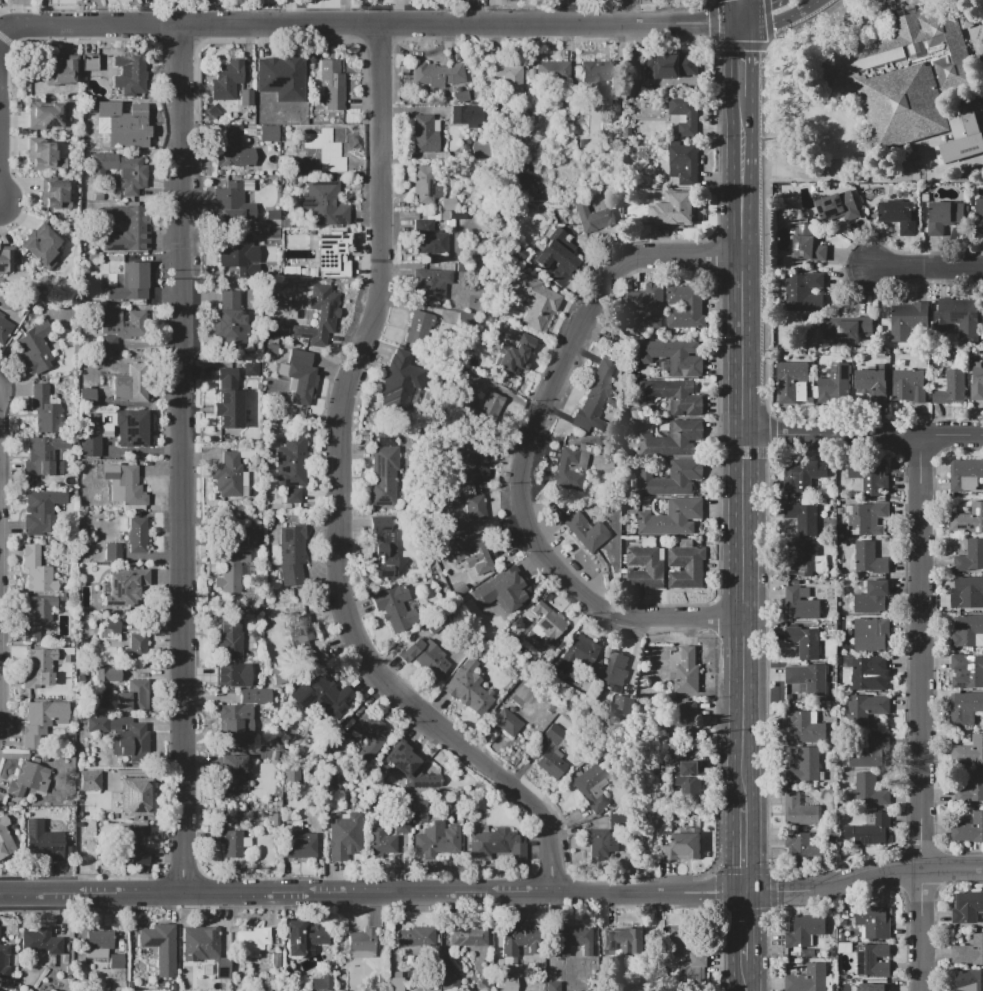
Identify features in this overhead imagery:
traffic signals: (767, 1)
road: (753, 8)
road: (734, 9)
road: (742, 9)
road: (778, 16)
road: (7, 19)
traffic signals: (711, 19)
road: (367, 24)
road: (0, 34)
road: (0, 36)
building: (898, 44)
traffic signals: (740, 51)
building: (88, 62)
building: (670, 65)
building: (280, 71)
building: (553, 71)
building: (60, 72)
building: (129, 74)
building: (594, 74)
building: (438, 75)
building: (508, 75)
building: (226, 80)
building: (331, 85)
park: (872, 94)
road: (740, 97)
building: (245, 99)
building: (903, 105)
building: (685, 113)
building: (52, 117)
building: (466, 117)
building: (964, 124)
building: (125, 128)
building: (268, 132)
building: (423, 133)
building: (479, 150)
building: (233, 153)
building: (43, 156)
building: (331, 156)
building: (682, 163)
building: (120, 170)
building: (523, 178)
building: (422, 185)
building: (54, 193)
building: (233, 202)
building: (447, 203)
building: (323, 204)
building: (838, 205)
building: (899, 215)
road: (741, 216)
building: (979, 216)
building: (942, 217)
building: (593, 218)
building: (680, 218)
building: (127, 229)
building: (428, 238)
building: (808, 244)
building: (42, 248)
building: (231, 253)
building: (329, 254)
building: (557, 256)
building: (5, 261)
road: (843, 267)
road: (927, 267)
building: (127, 283)
building: (430, 284)
road: (766, 291)
building: (804, 292)
building: (534, 300)
building: (644, 306)
building: (686, 307)
building: (960, 316)
building: (320, 317)
building: (229, 322)
building: (901, 323)
building: (117, 327)
building: (848, 327)
building: (4, 329)
building: (421, 329)
building: (34, 346)
building: (515, 354)
building: (673, 356)
building: (226, 374)
building: (976, 375)
building: (301, 376)
building: (132, 377)
building: (790, 379)
building: (397, 380)
building: (90, 381)
building: (872, 383)
building: (836, 384)
building: (907, 386)
building: (950, 386)
building: (674, 396)
building: (594, 397)
building: (43, 409)
building: (227, 409)
building: (485, 410)
building: (132, 429)
building: (105, 430)
road: (862, 435)
road: (742, 436)
building: (672, 438)
building: (88, 445)
road: (528, 450)
building: (43, 455)
road: (185, 460)
building: (291, 461)
building: (475, 463)
building: (572, 466)
building: (798, 471)
building: (869, 474)
building: (227, 475)
building: (383, 475)
building: (966, 476)
building: (672, 477)
building: (122, 484)
building: (454, 492)
building: (291, 495)
road: (339, 498)
building: (40, 511)
building: (468, 512)
building: (802, 517)
building: (671, 518)
building: (866, 518)
building: (968, 519)
building: (586, 532)
building: (137, 535)
building: (238, 538)
building: (851, 542)
building: (842, 543)
building: (382, 548)
building: (112, 553)
building: (292, 554)
building: (469, 555)
building: (970, 557)
building: (868, 558)
building: (807, 561)
building: (687, 567)
building: (645, 568)
building: (230, 569)
building: (36, 571)
building: (503, 589)
building: (120, 591)
building: (968, 592)
building: (872, 598)
building: (800, 606)
building: (395, 608)
building: (37, 617)
building: (111, 624)
building: (545, 627)
building: (295, 628)
building: (966, 630)
building: (871, 636)
building: (804, 641)
building: (137, 646)
building: (578, 654)
building: (231, 655)
building: (425, 656)
building: (39, 668)
building: (864, 670)
building: (967, 670)
building: (614, 671)
building: (686, 673)
building: (107, 675)
building: (808, 678)
building: (469, 688)
building: (327, 697)
building: (132, 698)
building: (623, 704)
building: (965, 706)
building: (865, 708)
road: (744, 709)
road: (920, 713)
building: (241, 717)
building: (41, 721)
building: (506, 724)
building: (805, 727)
building: (685, 729)
building: (116, 733)
building: (371, 735)
building: (337, 736)
building: (833, 740)
building: (970, 751)
building: (552, 754)
building: (866, 754)
building: (806, 765)
building: (408, 769)
building: (292, 772)
building: (234, 774)
building: (333, 778)
building: (25, 779)
building: (100, 780)
building: (689, 780)
building: (592, 786)
building: (973, 786)
building: (870, 791)
building: (136, 793)
building: (419, 809)
building: (800, 811)
building: (458, 818)
building: (617, 821)
building: (402, 825)
building: (663, 830)
building: (968, 830)
building: (873, 831)
building: (344, 835)
building: (5, 837)
building: (439, 839)
building: (42, 841)
building: (298, 843)
building: (379, 843)
building: (496, 843)
building: (231, 844)
building: (601, 844)
building: (683, 844)
building: (135, 845)
road: (745, 846)
building: (804, 848)
road: (864, 877)
traffic signals: (746, 892)
road: (373, 894)
building: (966, 907)
building: (844, 916)
building: (873, 922)
road: (745, 926)
building: (804, 929)
building: (302, 936)
building: (417, 936)
building: (841, 936)
building: (467, 937)
building: (679, 938)
building: (620, 939)
building: (520, 940)
building: (40, 941)
building: (255, 941)
building: (572, 942)
building: (97, 944)
building: (361, 944)
building: (843, 945)
building: (161, 946)
building: (204, 948)
building: (969, 951)
building: (872, 959)
building: (7, 960)
building: (117, 961)
building: (693, 967)
building: (449, 972)
road: (745, 975)
building: (844, 977)
building: (808, 978)
building: (968, 980)
building: (397, 982)
building: (322, 983)
building: (202, 984)
building: (505, 984)
building: (451, 985)
building: (553, 986)
building: (175, 987)
building: (882, 987)

